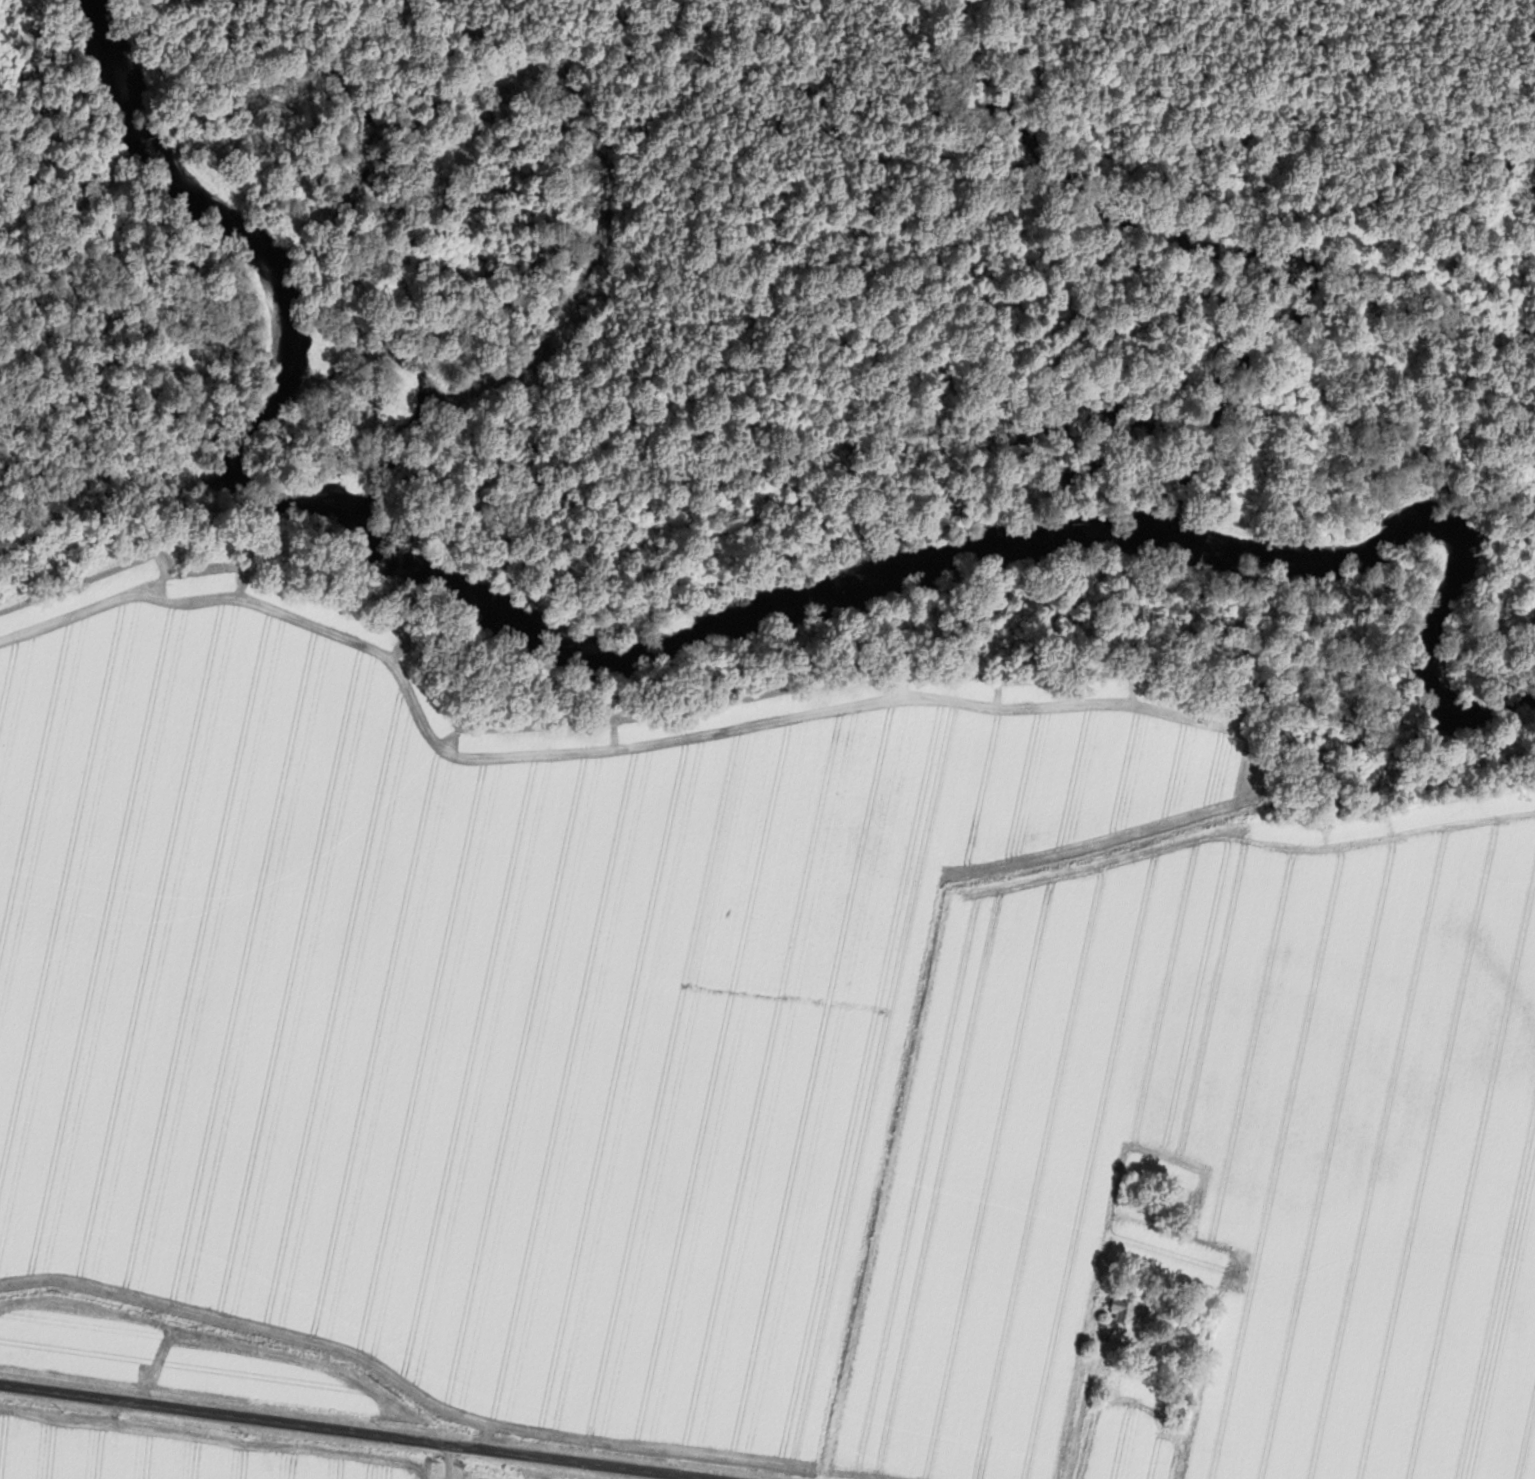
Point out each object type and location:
river: (435, 545)
building: (1132, 1313)
road: (353, 1431)

